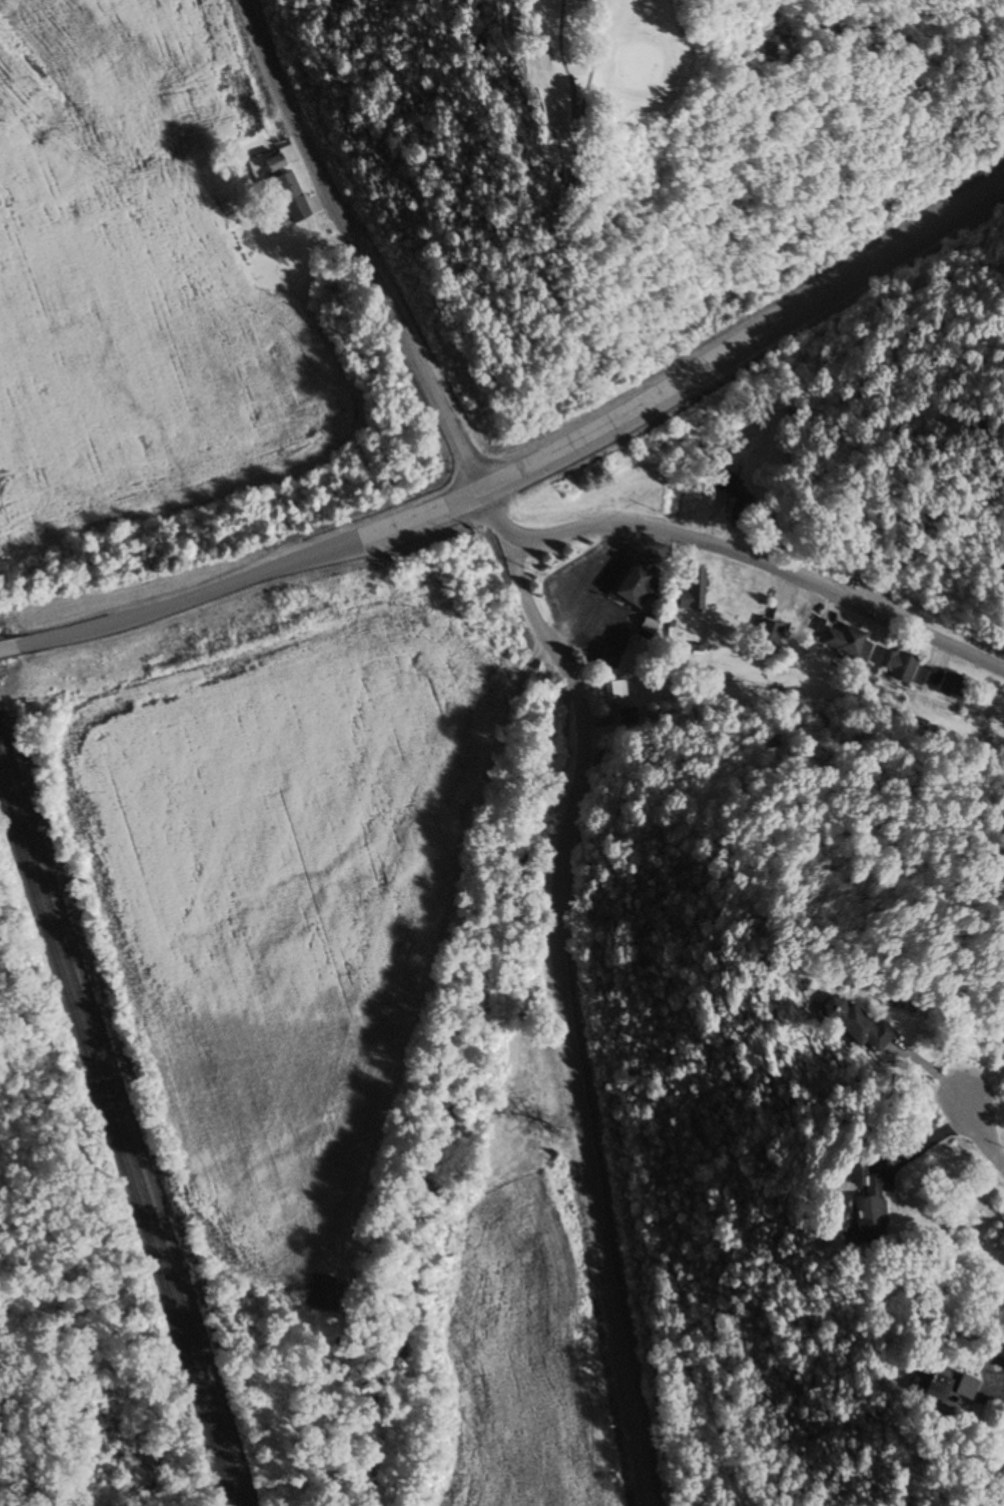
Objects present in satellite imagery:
road: (533, 117)
park: (626, 171)
road: (357, 250)
crop: (168, 328)
road: (534, 465)
building: (719, 482)
building: (736, 509)
road: (491, 520)
building: (761, 521)
road: (761, 562)
building: (627, 591)
building: (686, 593)
building: (645, 626)
building: (764, 632)
building: (843, 643)
road: (9, 649)
building: (693, 651)
building: (897, 666)
building: (942, 684)
building: (612, 690)
building: (625, 720)
crop: (281, 866)
road: (566, 1019)
railway: (124, 1129)
road: (978, 1134)
railway: (118, 1146)

